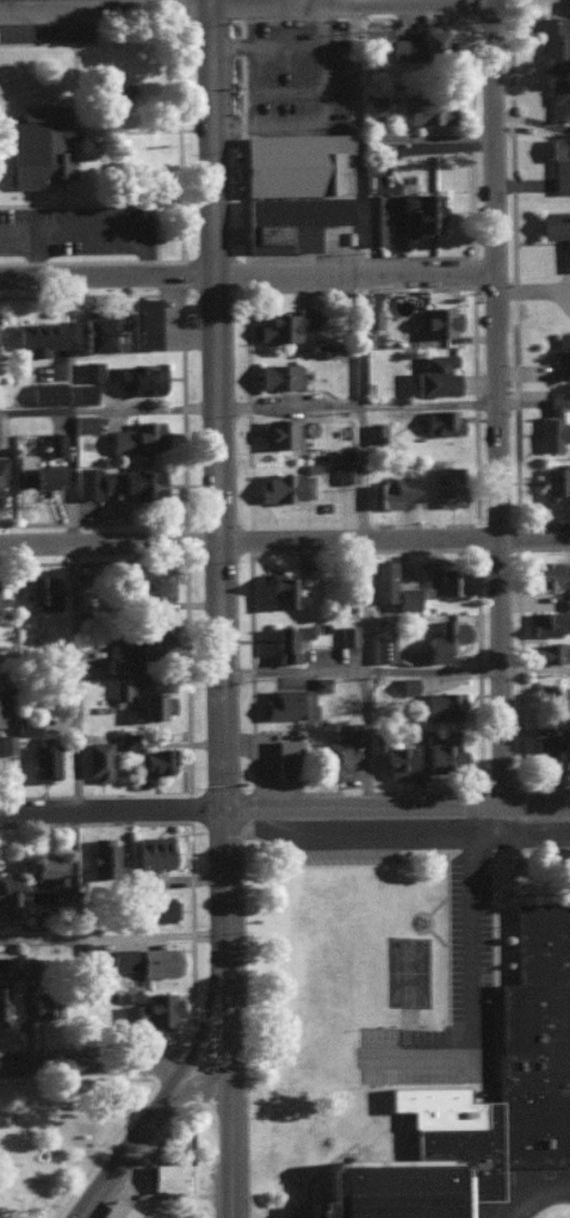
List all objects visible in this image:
road: (501, 1)
road: (298, 2)
road: (355, 6)
road: (104, 10)
building: (554, 41)
building: (419, 42)
road: (266, 43)
building: (559, 95)
building: (373, 103)
building: (427, 106)
road: (318, 116)
building: (38, 143)
building: (293, 162)
building: (559, 162)
building: (411, 209)
building: (372, 217)
building: (287, 220)
road: (97, 229)
building: (557, 229)
road: (35, 255)
road: (361, 277)
road: (106, 279)
building: (370, 316)
building: (438, 320)
building: (284, 322)
building: (138, 324)
building: (93, 330)
building: (36, 335)
road: (212, 335)
building: (562, 351)
building: (89, 369)
building: (278, 373)
building: (433, 373)
building: (138, 376)
building: (45, 390)
building: (82, 391)
road: (373, 408)
road: (509, 408)
road: (254, 410)
building: (440, 420)
building: (82, 421)
building: (552, 423)
building: (277, 431)
building: (374, 431)
building: (136, 435)
building: (54, 441)
building: (2, 468)
building: (345, 470)
building: (36, 472)
building: (553, 478)
building: (119, 481)
building: (283, 484)
building: (447, 484)
building: (390, 490)
road: (107, 542)
road: (392, 543)
road: (70, 546)
building: (540, 571)
building: (444, 577)
building: (380, 579)
building: (148, 583)
building: (287, 586)
building: (42, 591)
building: (404, 598)
building: (565, 602)
building: (546, 622)
building: (346, 633)
building: (442, 637)
building: (286, 639)
building: (138, 641)
building: (380, 648)
building: (550, 651)
building: (116, 661)
road: (107, 673)
road: (541, 674)
road: (364, 676)
building: (320, 681)
building: (405, 684)
building: (120, 691)
building: (553, 694)
building: (4, 701)
building: (286, 701)
building: (153, 704)
building: (441, 704)
building: (25, 723)
building: (352, 736)
building: (126, 738)
road: (219, 741)
building: (6, 742)
building: (547, 743)
building: (441, 755)
building: (285, 756)
building: (95, 758)
building: (332, 758)
building: (43, 759)
building: (153, 759)
building: (396, 759)
road: (110, 811)
traffic signals: (222, 811)
road: (368, 811)
road: (543, 812)
road: (487, 841)
building: (101, 853)
building: (149, 857)
building: (43, 864)
road: (222, 885)
building: (7, 895)
building: (157, 908)
road: (111, 935)
building: (122, 958)
building: (157, 960)
park: (421, 975)
road: (485, 979)
building: (0, 1001)
building: (42, 1006)
building: (160, 1008)
building: (132, 1016)
road: (227, 1018)
road: (198, 1032)
road: (450, 1045)
road: (92, 1063)
park: (385, 1065)
road: (192, 1081)
road: (450, 1093)
building: (478, 1095)
park: (63, 1142)
road: (229, 1146)
road: (118, 1160)
building: (165, 1177)
road: (541, 1197)
building: (116, 1210)

